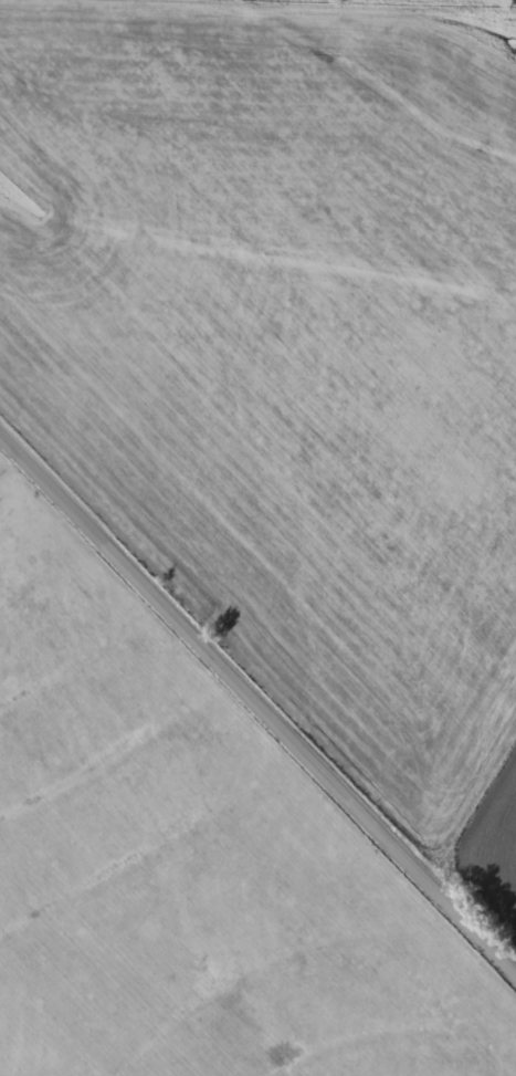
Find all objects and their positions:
road: (257, 708)

